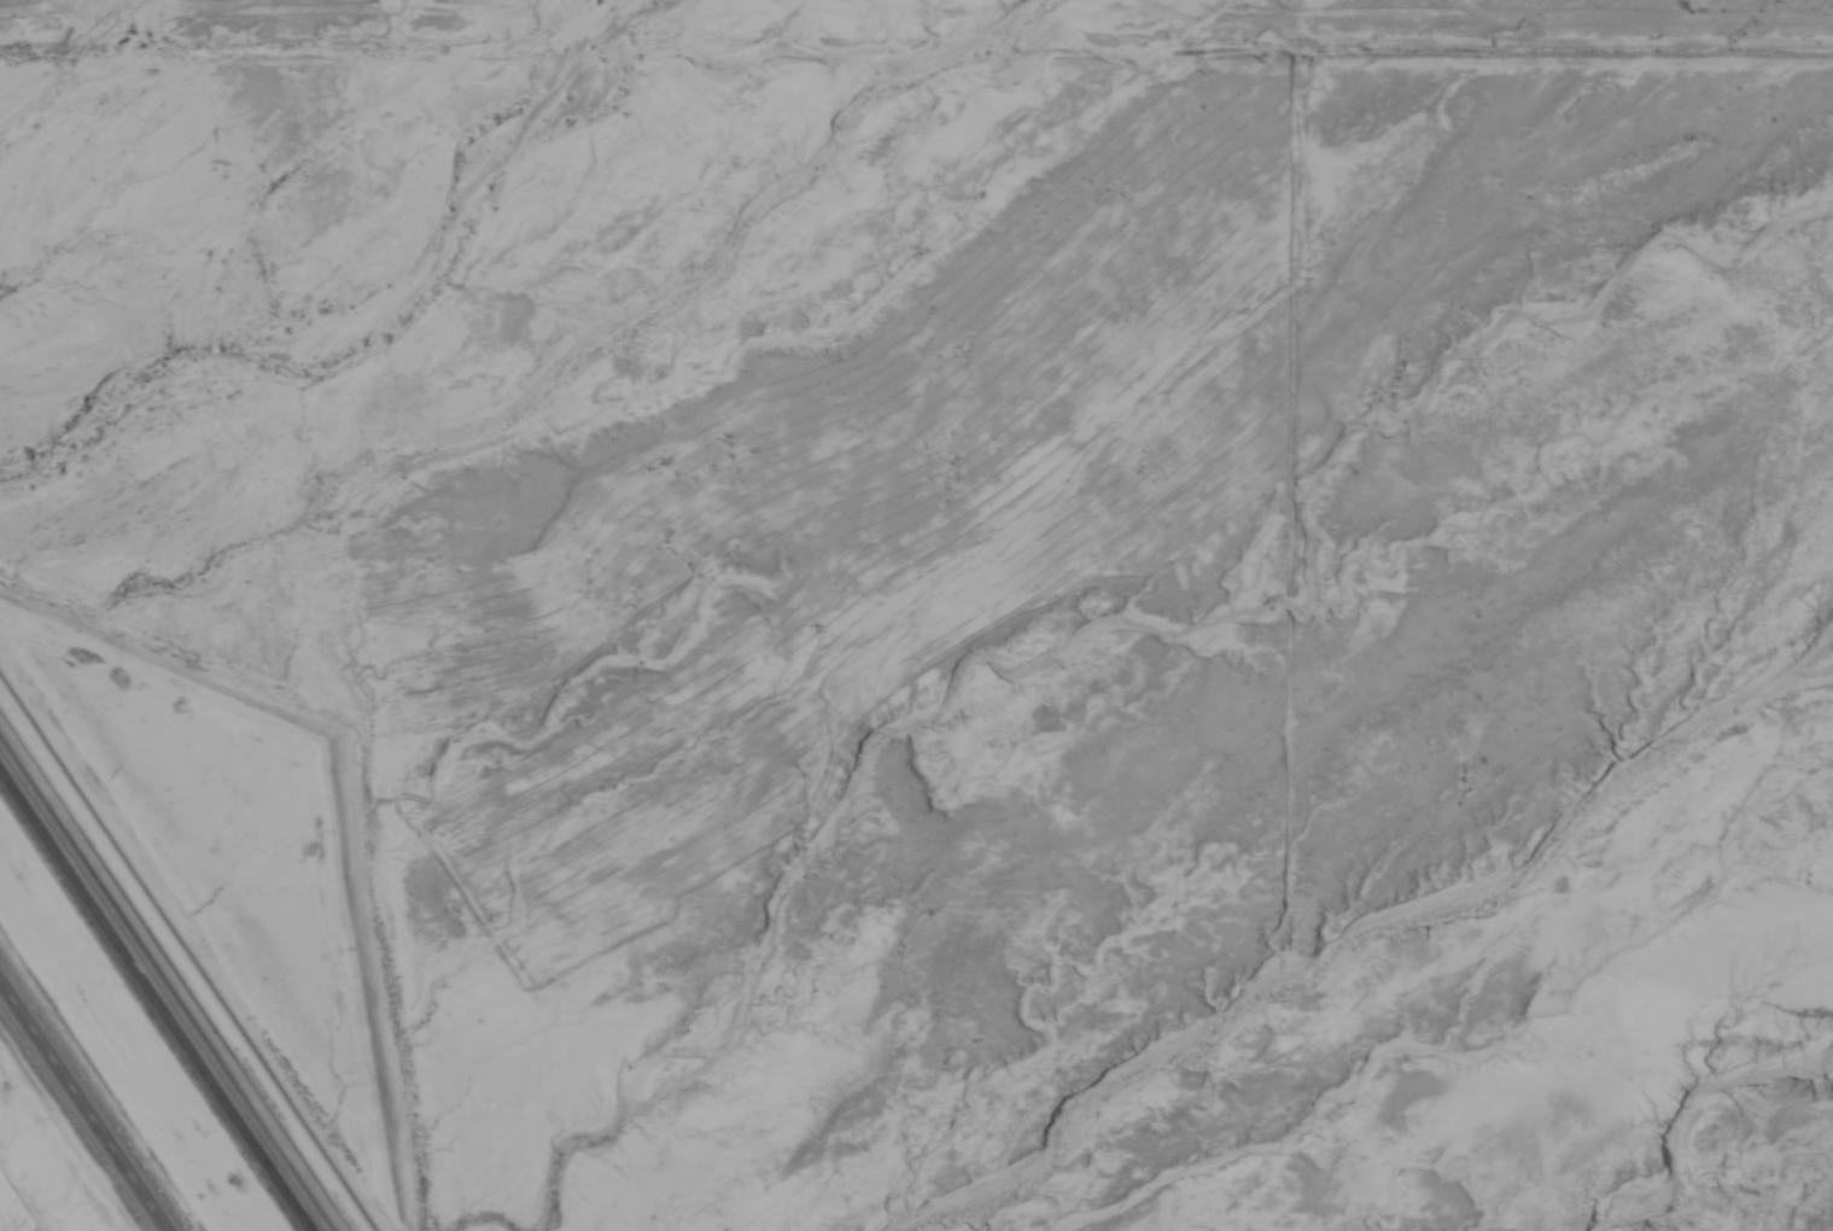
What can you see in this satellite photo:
railway: (169, 981)
railway: (158, 994)
road: (83, 1105)

